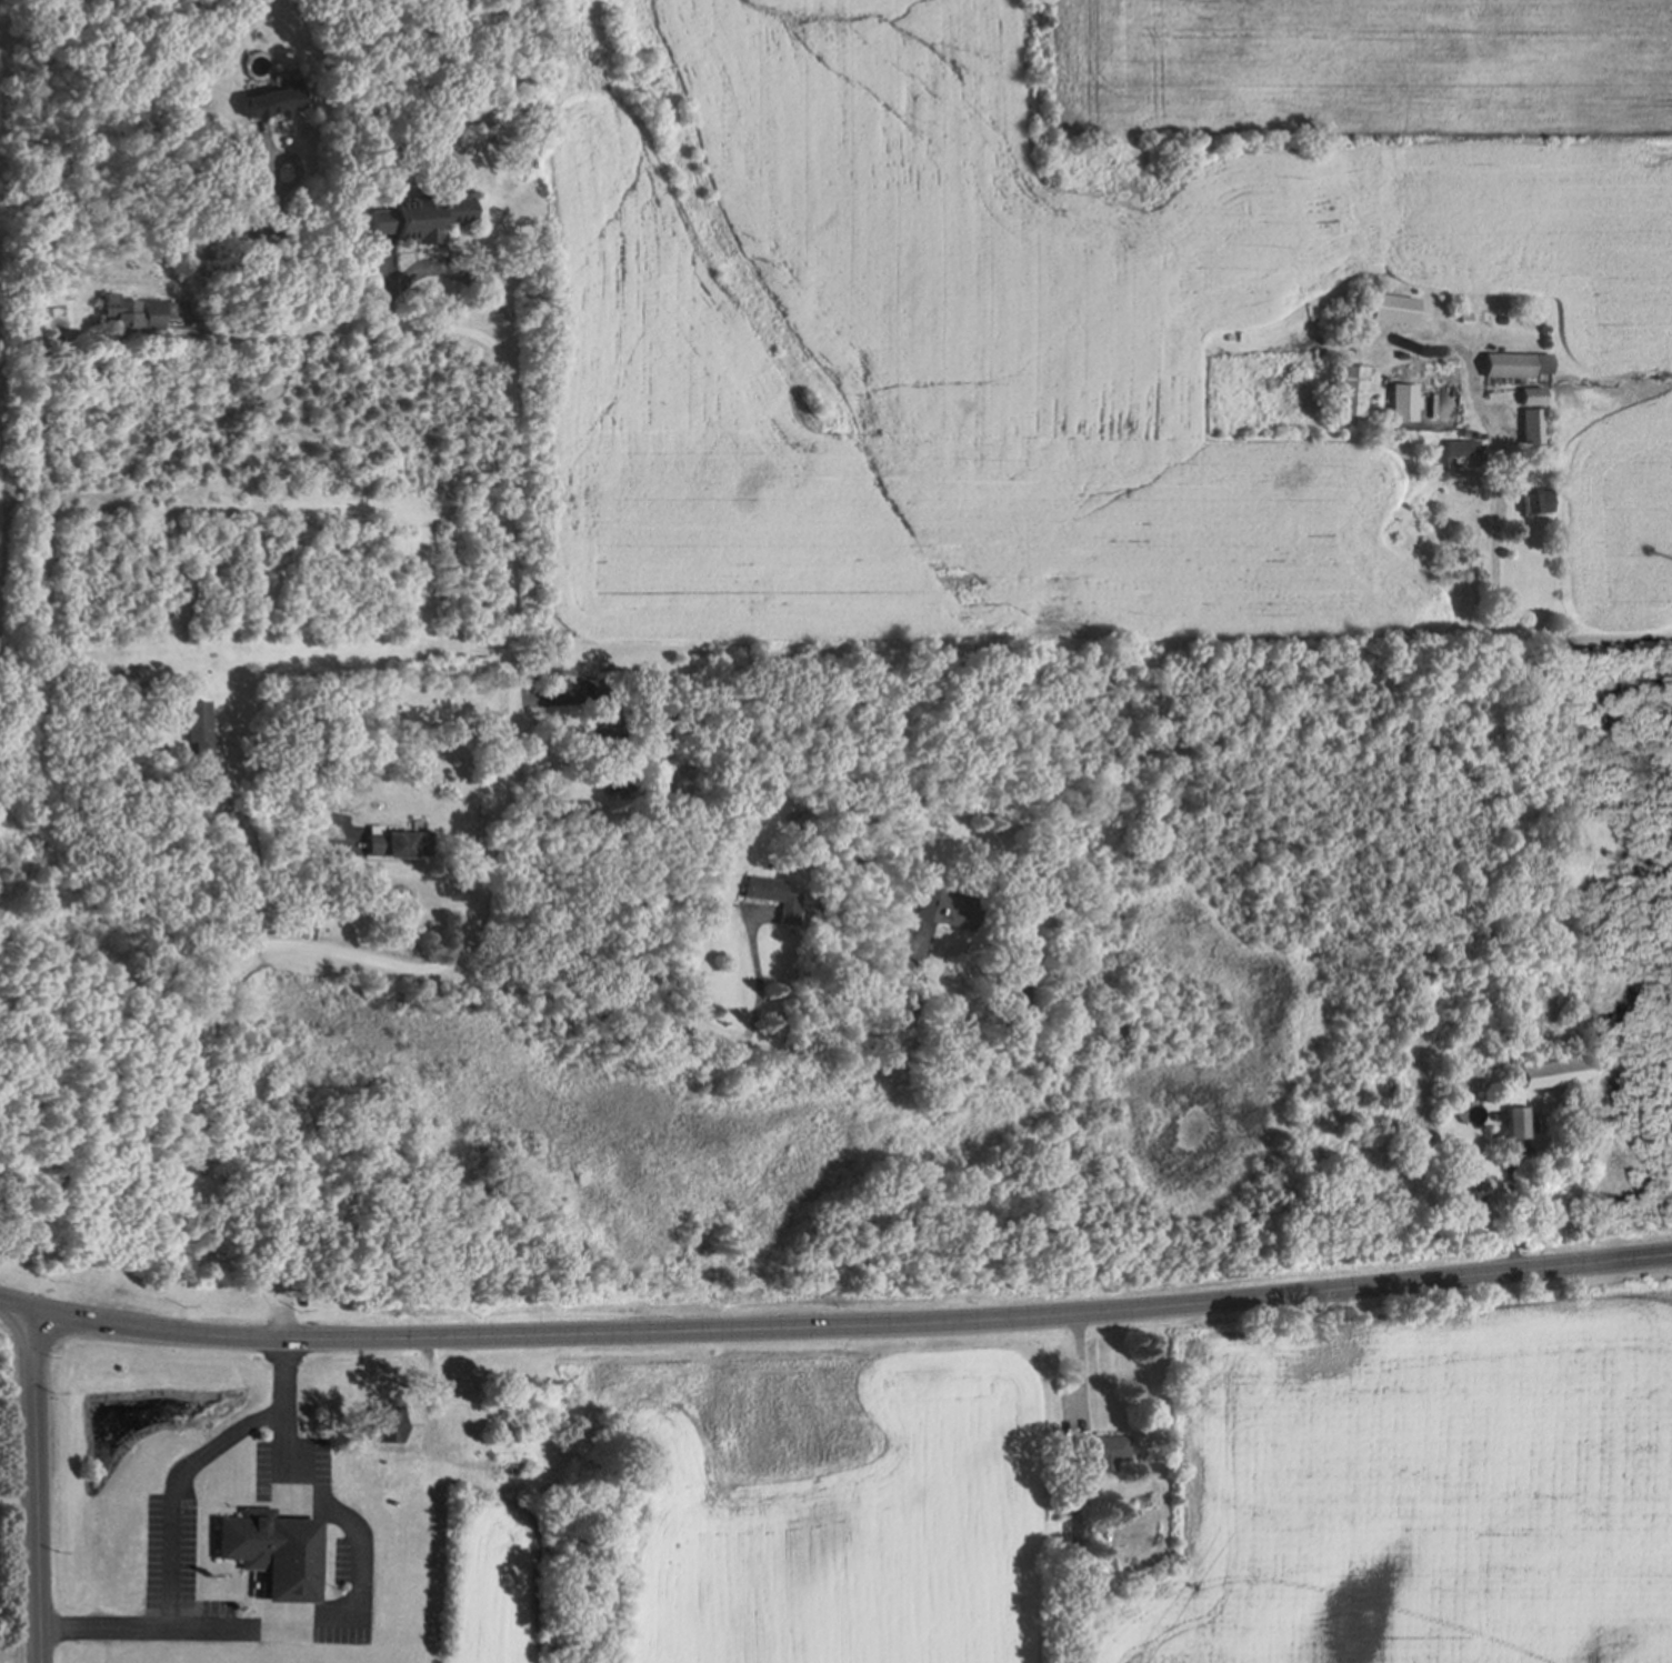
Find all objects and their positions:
building: (271, 97)
building: (238, 137)
building: (416, 219)
road: (287, 229)
road: (442, 269)
building: (1386, 309)
building: (128, 313)
building: (1450, 314)
building: (1520, 315)
building: (1489, 317)
building: (1485, 345)
building: (1414, 350)
building: (1393, 352)
building: (1331, 354)
building: (1339, 354)
building: (1506, 363)
building: (1338, 390)
building: (1519, 392)
building: (1395, 398)
building: (1362, 407)
building: (1520, 428)
building: (1451, 443)
building: (1526, 500)
road: (509, 528)
road: (1485, 560)
building: (600, 708)
building: (191, 727)
building: (391, 844)
road: (248, 859)
building: (773, 896)
building: (941, 905)
road: (338, 955)
road: (753, 980)
building: (1008, 998)
building: (1543, 1073)
building: (1493, 1115)
building: (1512, 1121)
building: (1591, 1123)
building: (1490, 1131)
building: (1513, 1163)
building: (1462, 1185)
road: (1508, 1210)
road: (17, 1306)
road: (852, 1311)
building: (381, 1424)
building: (1097, 1452)
parking lot: (267, 1471)
road: (40, 1486)
road: (171, 1490)
road: (20, 1500)
building: (1072, 1530)
parking lot: (168, 1550)
building: (277, 1556)
parking lot: (343, 1561)
road: (357, 1616)

